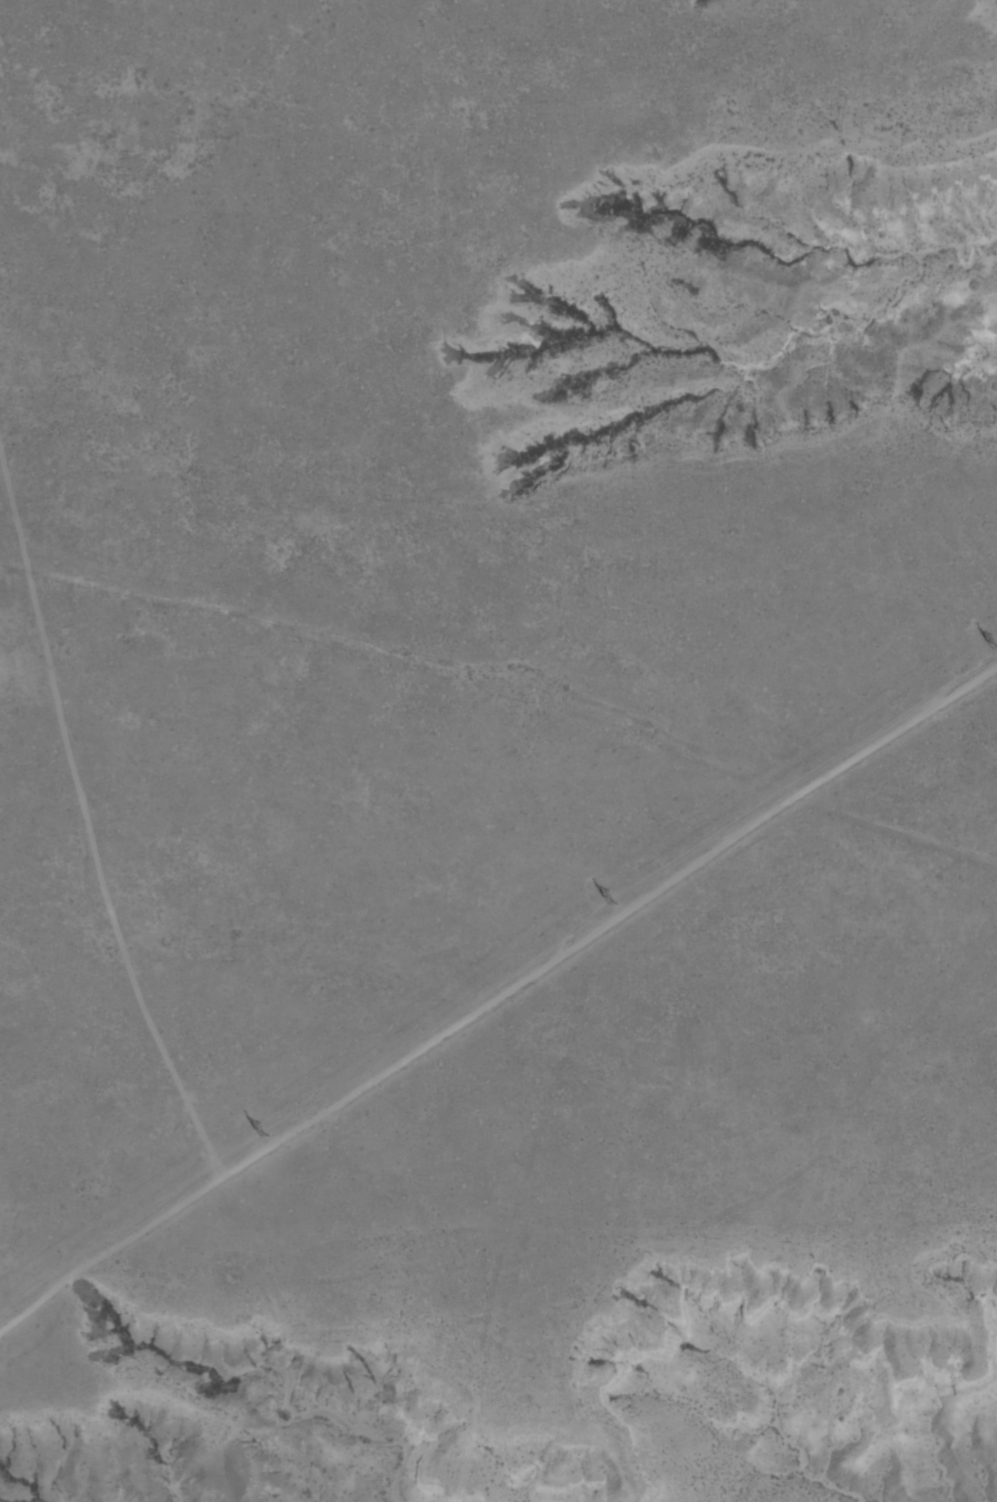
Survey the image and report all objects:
power tower: (618, 894)
power tower: (266, 1128)

